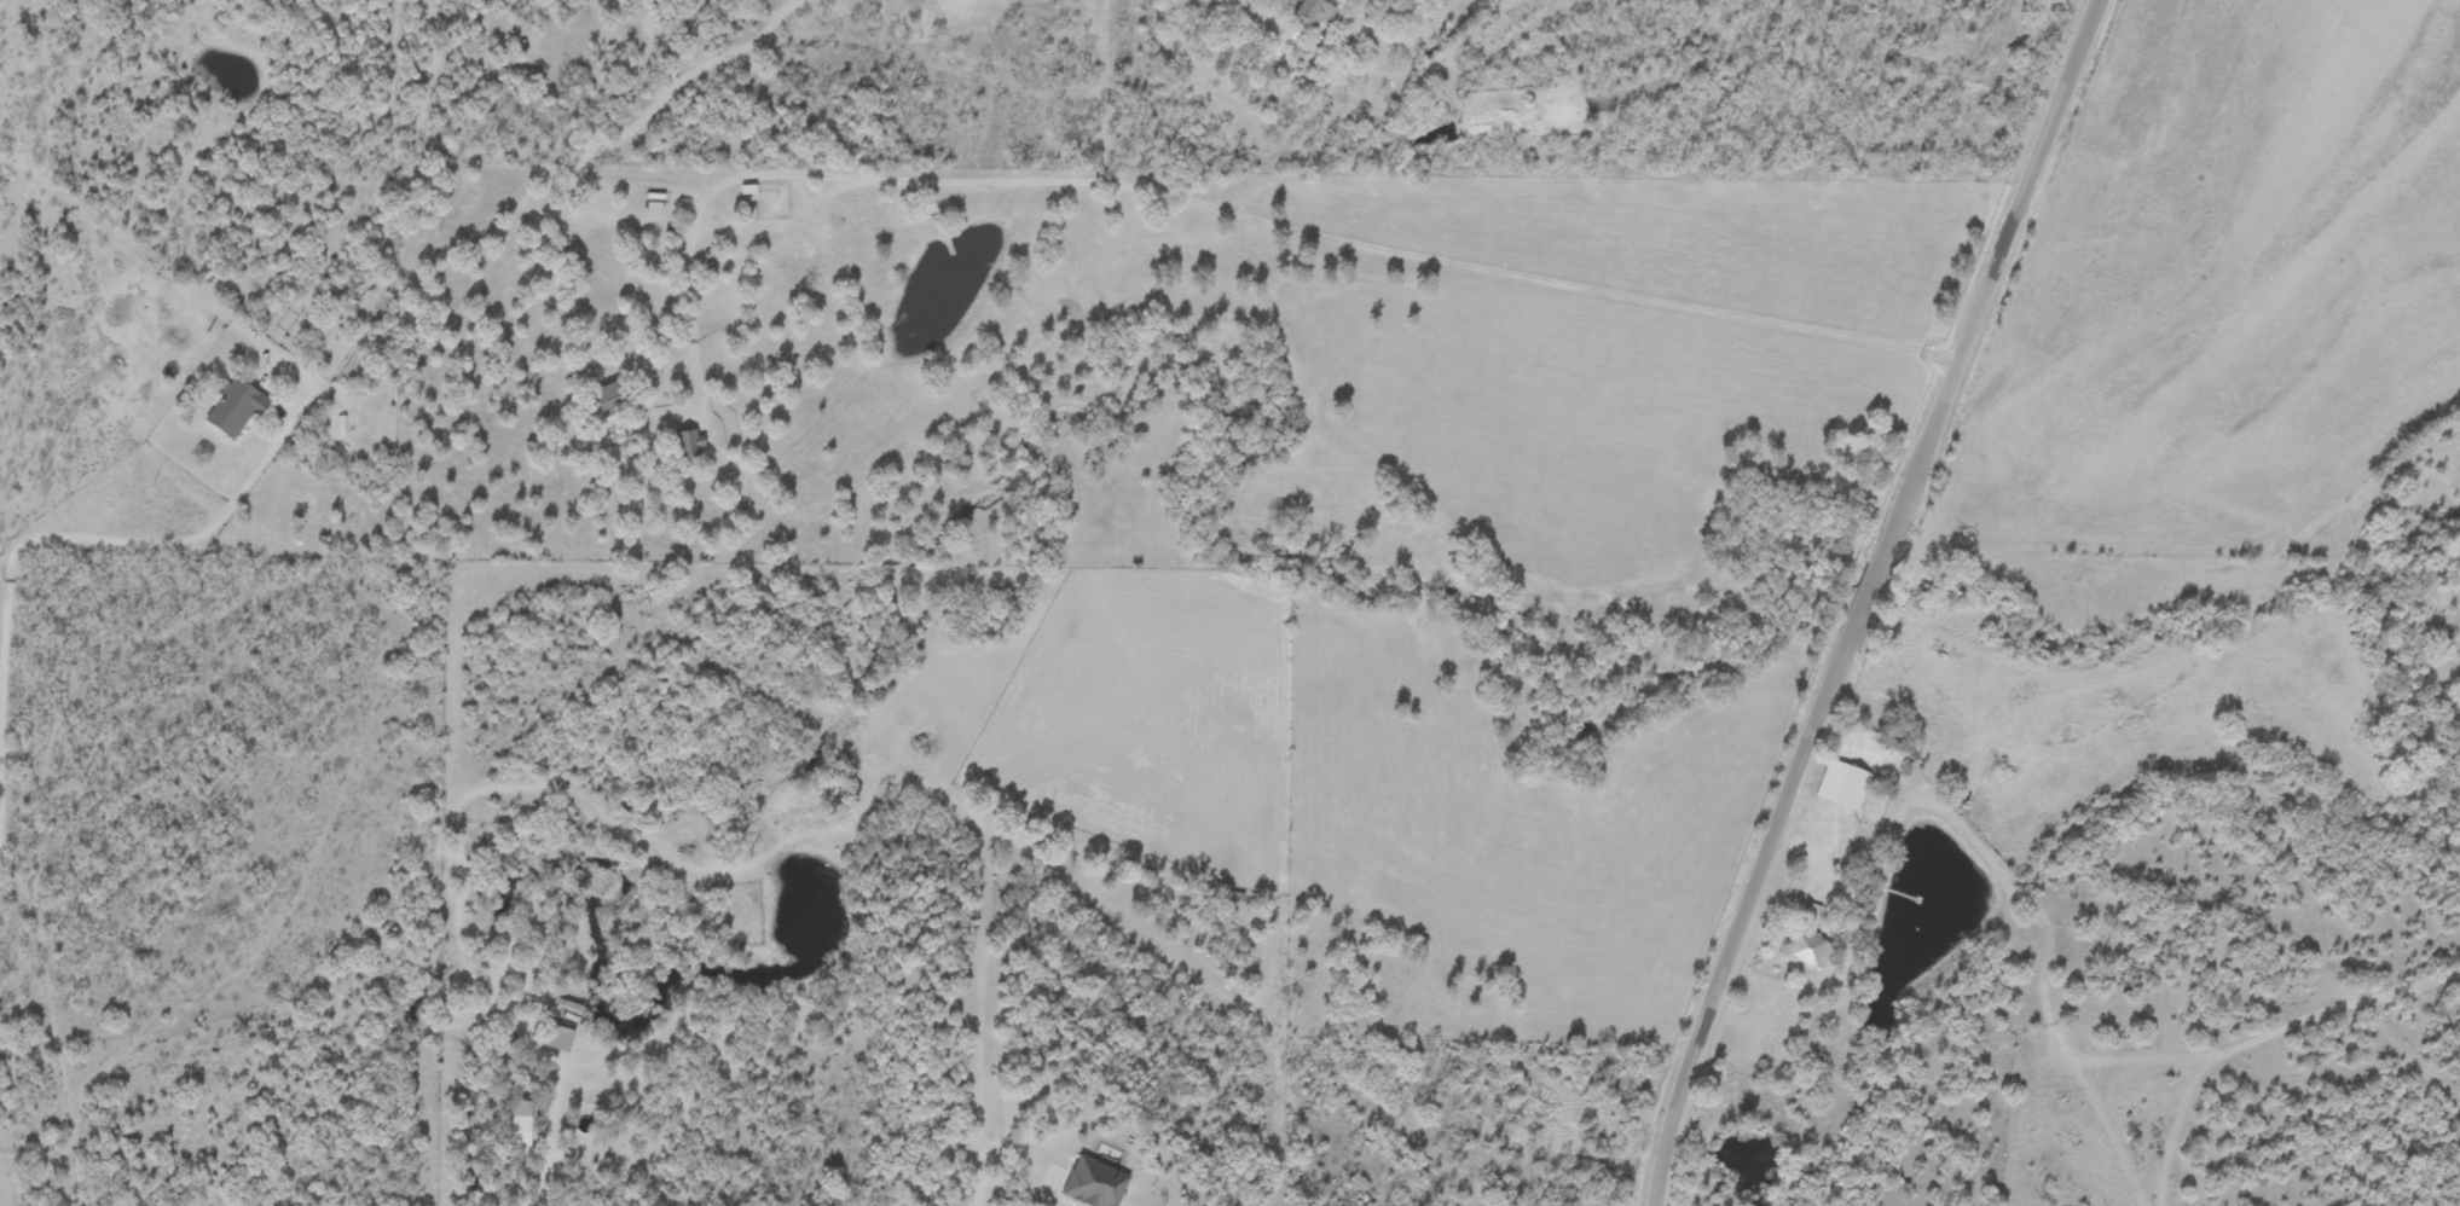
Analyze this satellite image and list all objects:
building: (1315, 13)
road: (1406, 34)
road: (2020, 201)
building: (289, 324)
building: (609, 399)
building: (235, 408)
building: (687, 443)
road: (21, 553)
road: (1876, 566)
building: (1842, 785)
building: (1810, 949)
road: (1725, 964)
building: (557, 1039)
road: (543, 1177)
road: (982, 1181)

